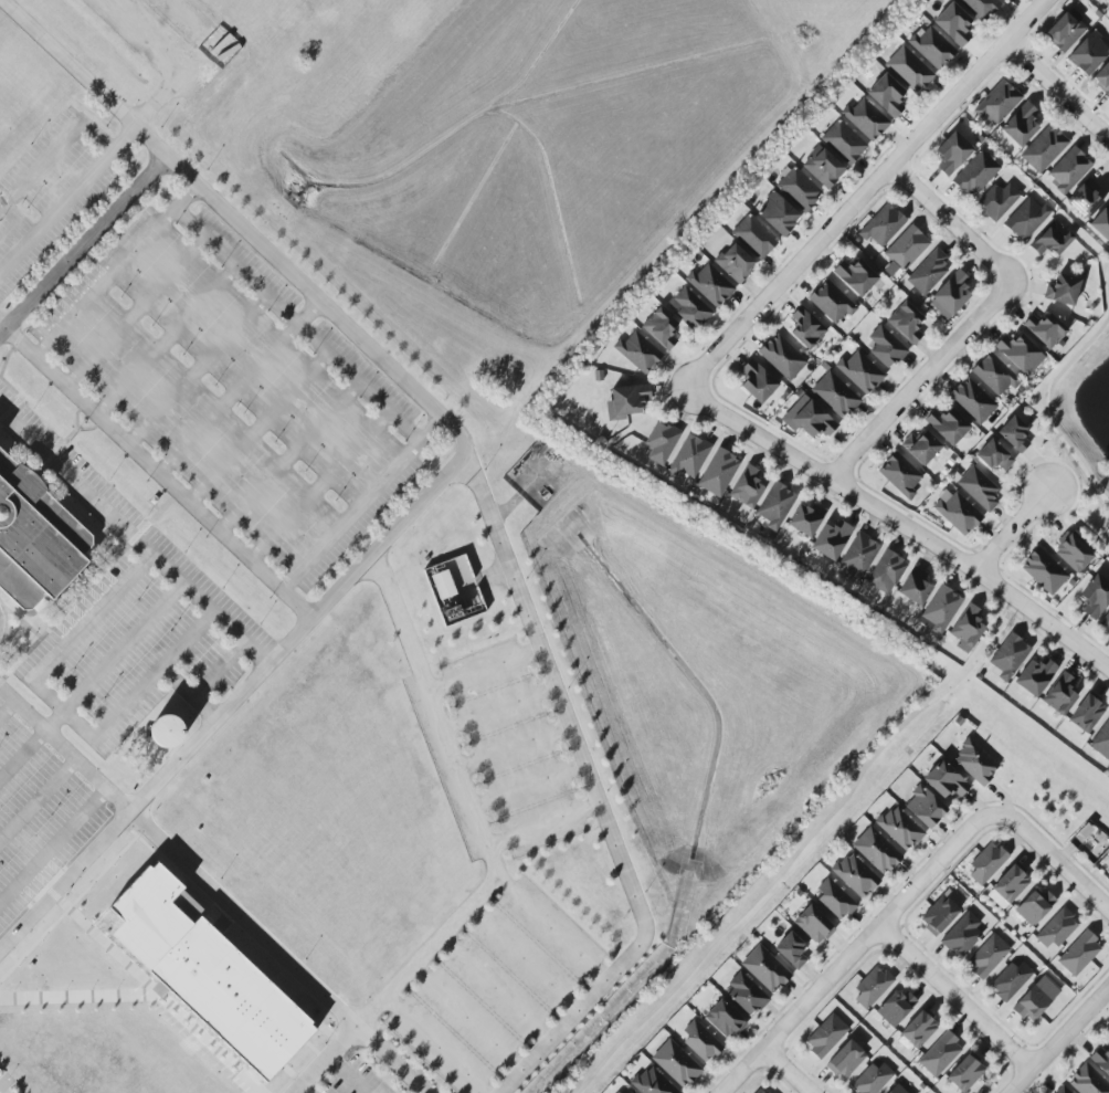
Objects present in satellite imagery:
building: (1003, 0)
building: (1108, 1)
building: (980, 7)
building: (953, 24)
building: (1065, 30)
building: (931, 48)
building: (1088, 53)
building: (908, 70)
building: (1102, 78)
road: (1058, 90)
building: (886, 95)
building: (996, 102)
building: (865, 119)
building: (1020, 124)
building: (843, 143)
building: (1043, 149)
road: (52, 150)
building: (951, 153)
building: (822, 167)
building: (1068, 170)
building: (975, 174)
building: (798, 189)
parking lot: (51, 191)
road: (862, 195)
building: (1085, 198)
road: (66, 199)
building: (996, 200)
building: (778, 214)
building: (1026, 218)
building: (1101, 222)
road: (952, 223)
building: (881, 225)
building: (753, 237)
building: (1052, 239)
road: (83, 244)
building: (904, 250)
building: (733, 263)
building: (928, 272)
building: (855, 276)
road: (106, 283)
building: (709, 285)
building: (1062, 290)
building: (950, 295)
building: (831, 302)
building: (690, 308)
road: (286, 314)
road: (341, 323)
building: (905, 323)
building: (659, 328)
building: (805, 328)
building: (1044, 329)
building: (885, 347)
building: (637, 351)
building: (1018, 353)
building: (781, 357)
building: (859, 371)
building: (994, 375)
road: (921, 380)
building: (757, 381)
road: (237, 387)
parking lot: (236, 389)
building: (834, 395)
building: (625, 401)
building: (972, 401)
road: (1049, 403)
building: (807, 418)
building: (947, 424)
building: (1013, 434)
building: (661, 442)
building: (920, 446)
building: (993, 455)
building: (688, 456)
road: (155, 471)
building: (718, 472)
building: (899, 475)
road: (319, 486)
building: (747, 487)
building: (979, 488)
road: (360, 503)
building: (774, 505)
building: (957, 512)
building: (804, 518)
road: (899, 522)
road: (1012, 529)
building: (35, 538)
road: (133, 538)
building: (830, 539)
building: (1071, 551)
building: (858, 557)
building: (1044, 571)
building: (885, 572)
building: (443, 585)
building: (913, 586)
building: (1095, 596)
building: (939, 610)
parking lot: (129, 616)
building: (1106, 621)
building: (967, 629)
road: (66, 643)
building: (1007, 656)
road: (486, 670)
building: (1034, 676)
road: (142, 689)
building: (1059, 693)
road: (7, 708)
road: (500, 708)
building: (1086, 712)
building: (167, 732)
building: (1101, 742)
road: (516, 748)
road: (21, 752)
building: (974, 763)
building: (944, 780)
road: (529, 785)
road: (595, 788)
road: (133, 807)
building: (923, 807)
parking lot: (39, 816)
road: (543, 823)
building: (898, 828)
road: (488, 850)
road: (801, 850)
building: (876, 850)
road: (1052, 854)
building: (208, 861)
building: (986, 863)
building: (1108, 870)
building: (854, 875)
building: (1007, 886)
road: (212, 891)
building: (834, 900)
building: (1034, 906)
building: (939, 915)
building: (813, 925)
building: (1056, 928)
road: (550, 931)
building: (961, 934)
building: (790, 950)
road: (853, 953)
building: (1078, 953)
building: (987, 956)
road: (524, 958)
building: (763, 968)
building: (207, 973)
building: (1010, 980)
road: (499, 982)
building: (872, 987)
building: (746, 994)
road: (954, 997)
building: (1031, 1002)
building: (895, 1007)
road: (469, 1015)
building: (724, 1019)
building: (918, 1028)
building: (826, 1036)
road: (1058, 1039)
building: (700, 1041)
road: (433, 1047)
building: (939, 1054)
building: (844, 1059)
building: (1101, 1059)
building: (675, 1063)
road: (786, 1071)
building: (965, 1072)
building: (872, 1078)
building: (1087, 1081)
building: (651, 1083)
building: (896, 1090)
building: (1062, 1090)
building: (758, 1091)
building: (616, 1092)
building: (629, 1092)

